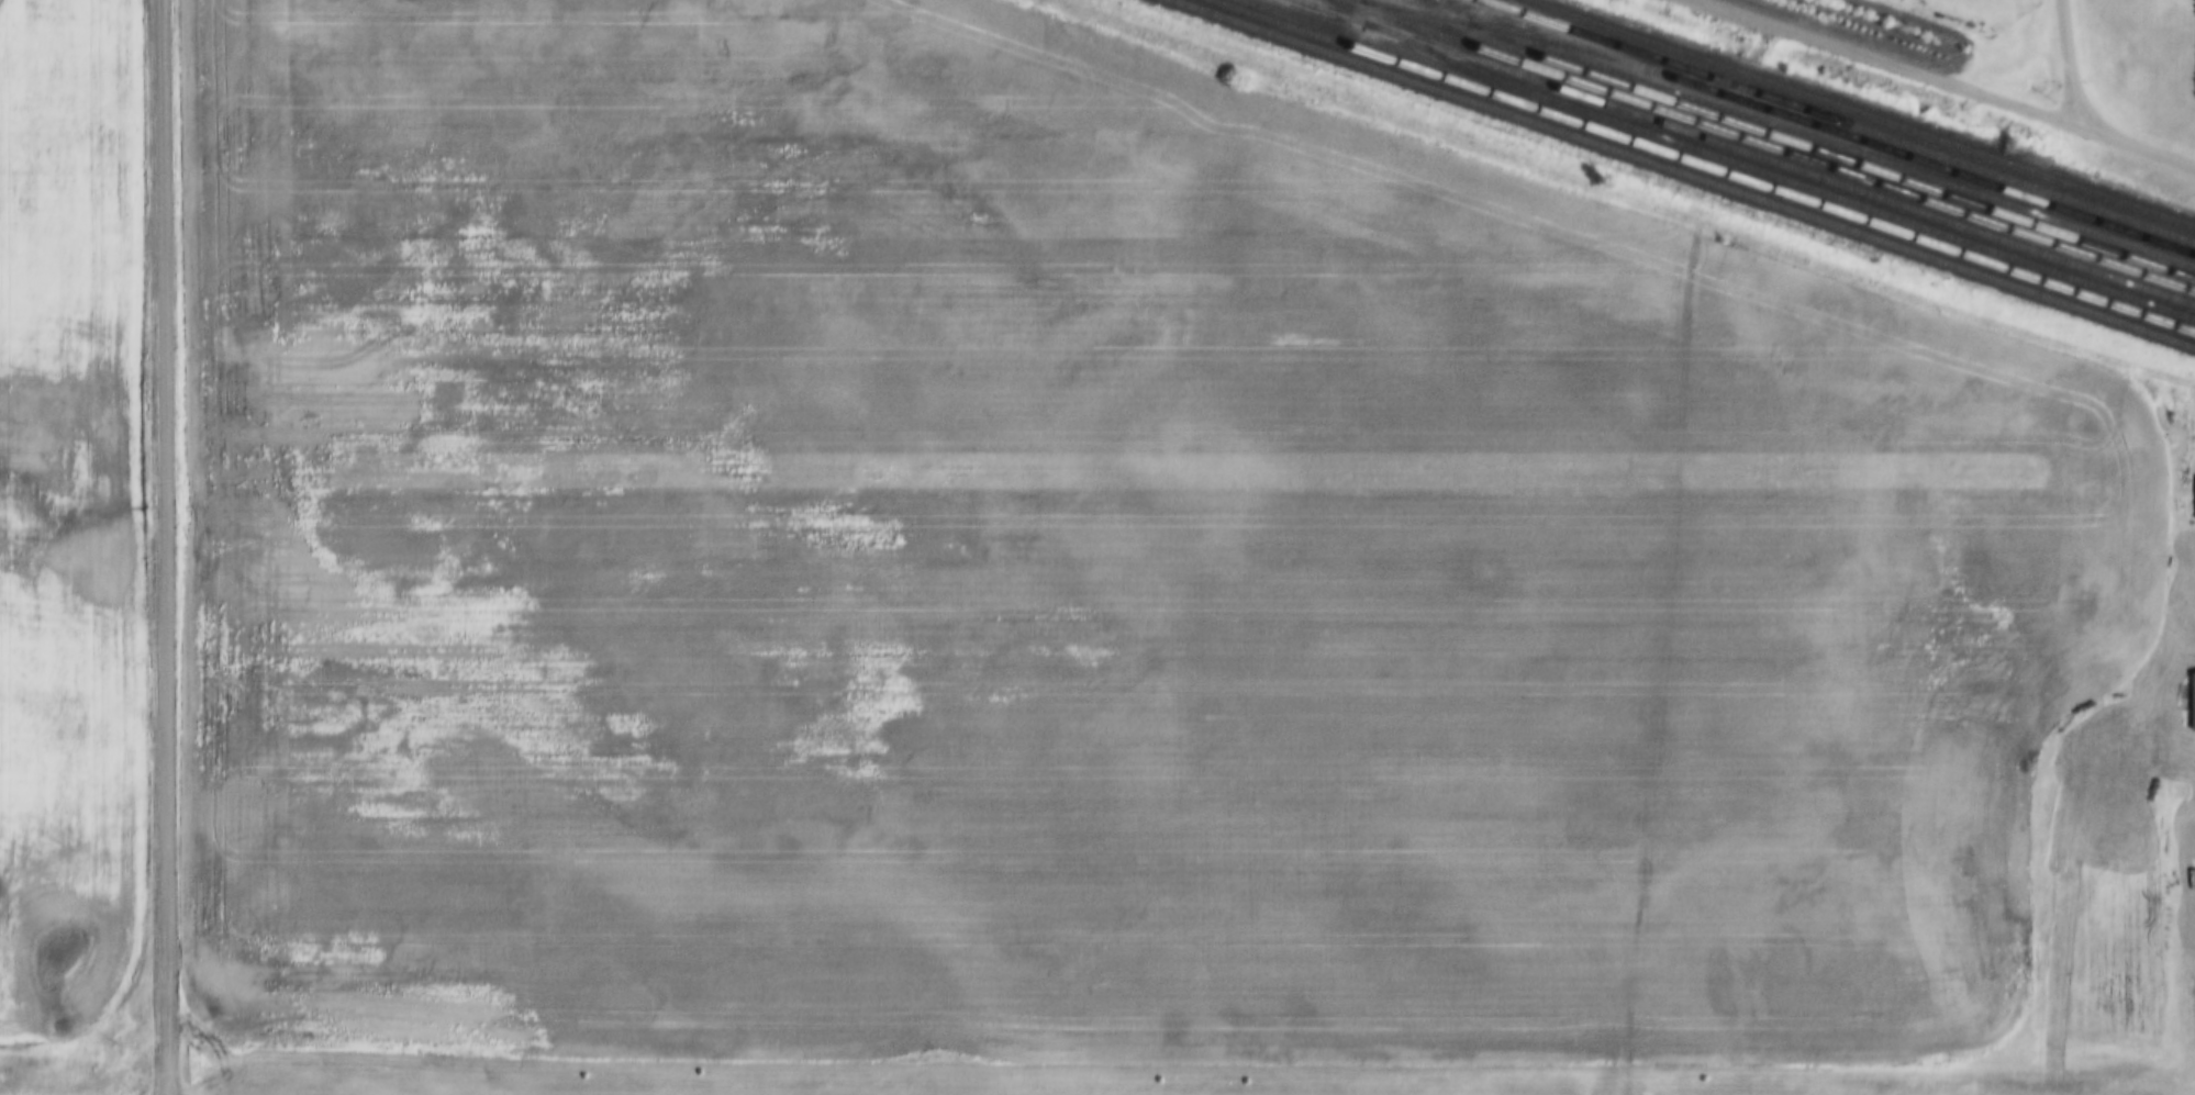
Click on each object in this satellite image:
railway: (1496, 7)
road: (2079, 62)
road: (1961, 79)
railway: (1856, 114)
railway: (1834, 122)
railway: (1762, 146)
railway: (1742, 153)
railway: (1722, 159)
railway: (1909, 159)
railway: (1701, 166)
railway: (1859, 167)
railway: (1956, 187)
building: (2192, 487)
road: (170, 547)
building: (2192, 690)

